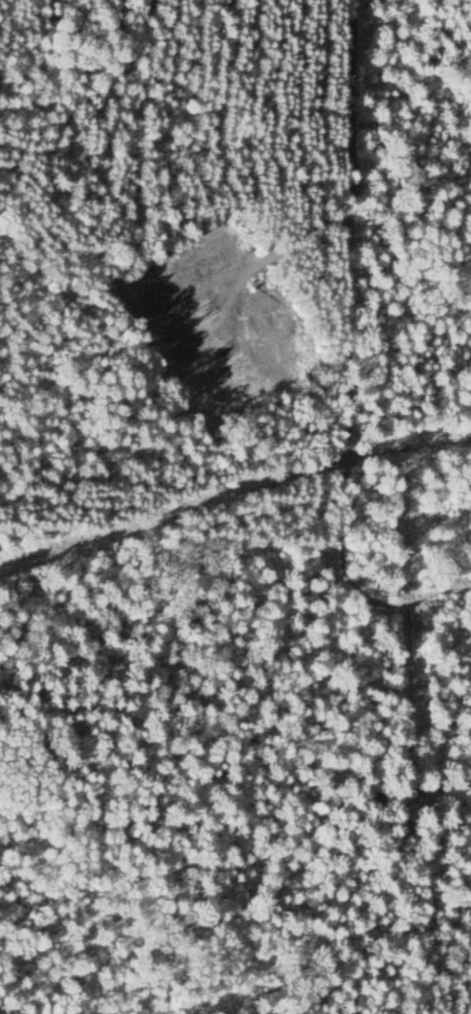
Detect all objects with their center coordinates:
road: (349, 172)
petroleum well: (200, 311)

